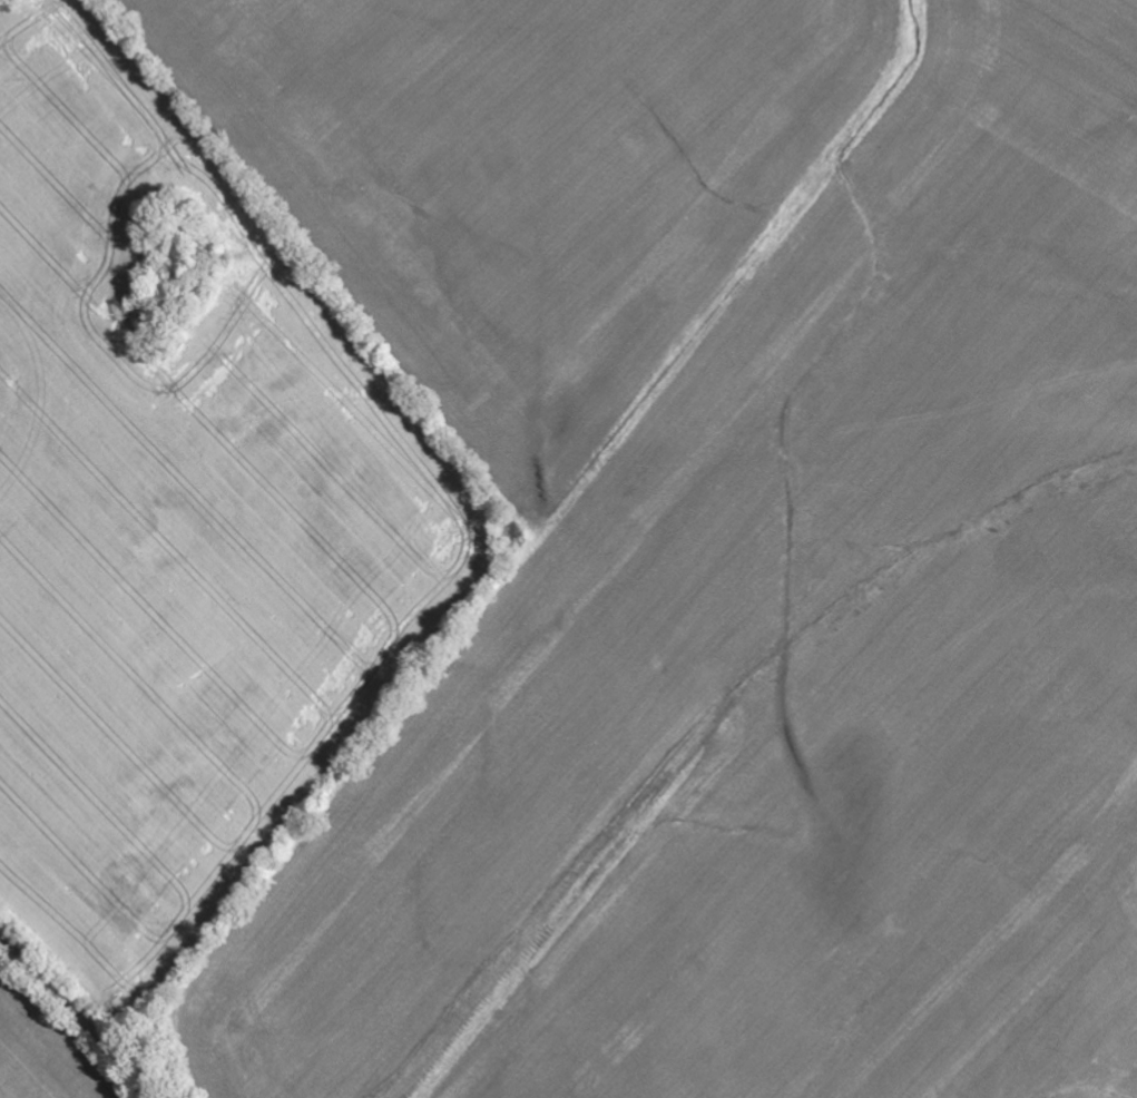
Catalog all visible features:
road: (75, 1019)

